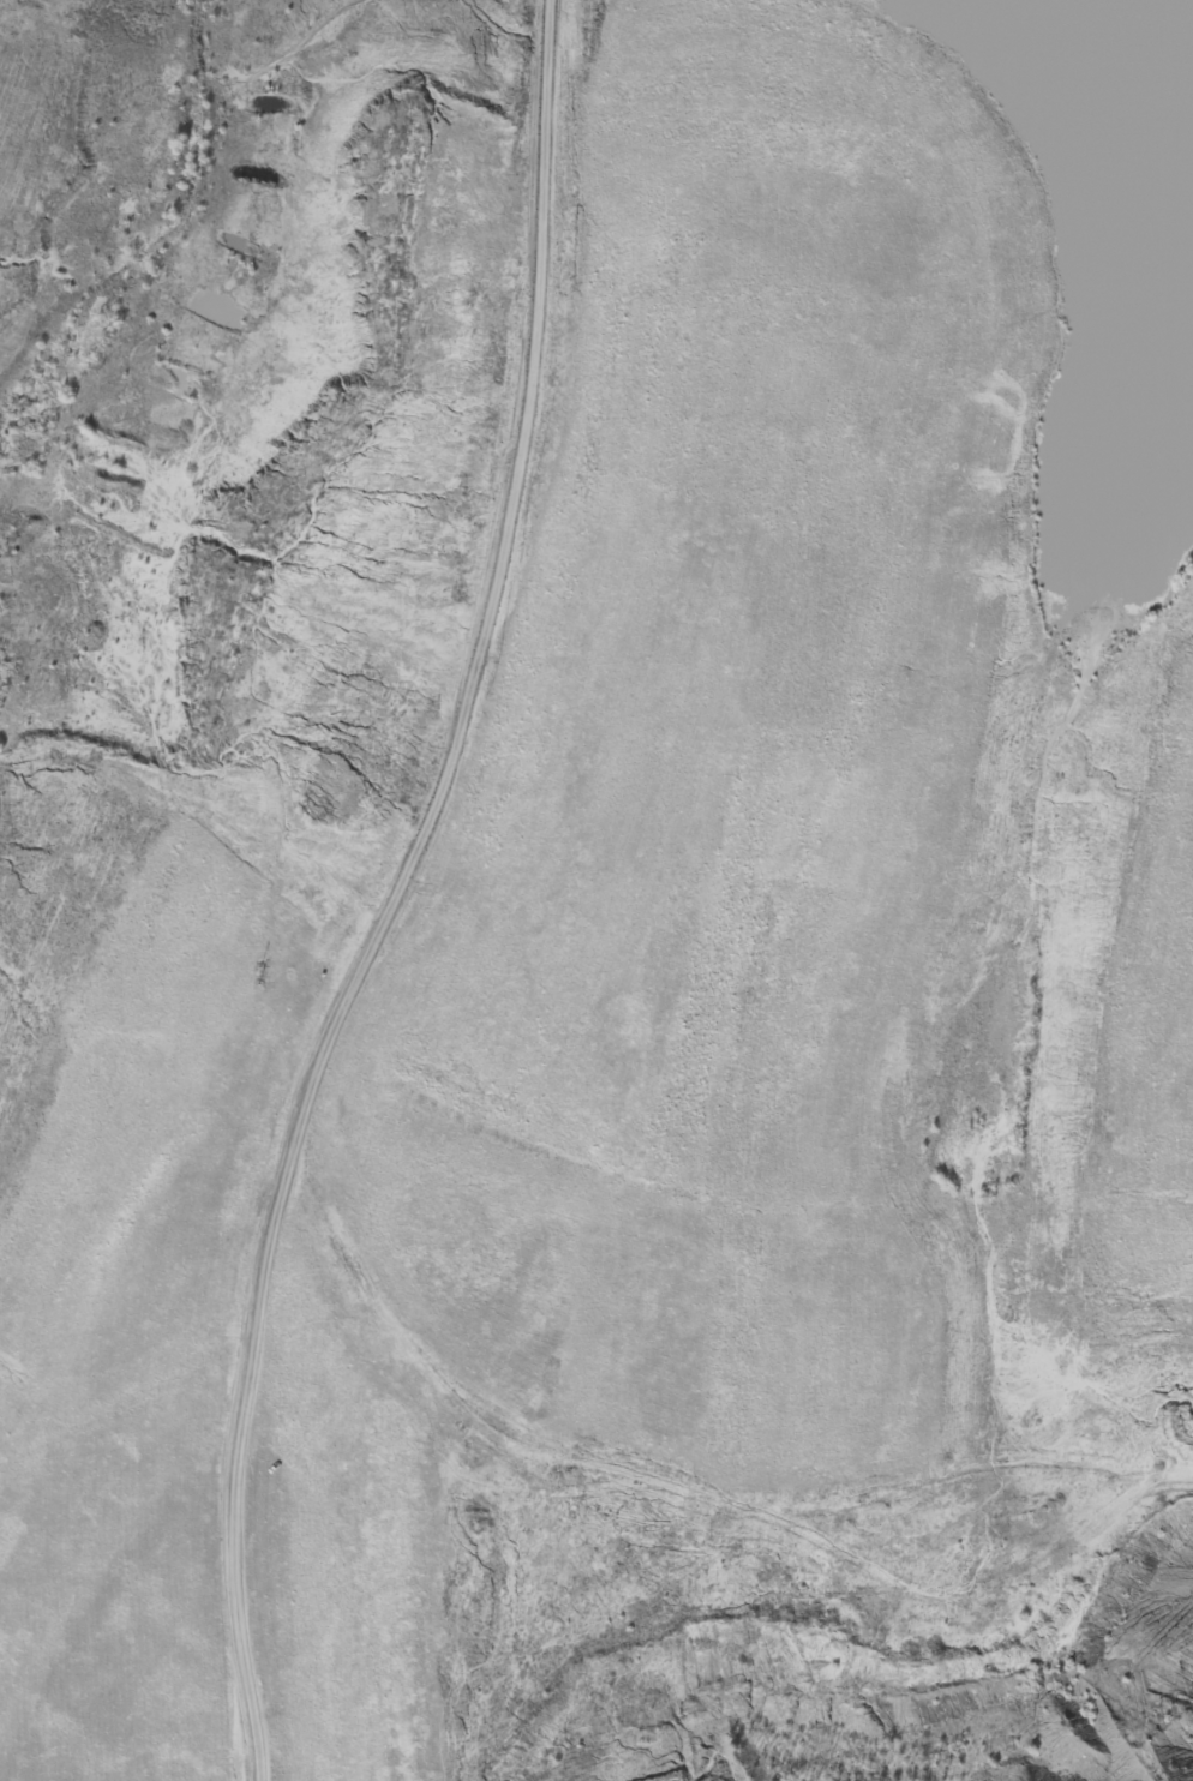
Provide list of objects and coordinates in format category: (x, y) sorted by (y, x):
quarry: (596, 890)

